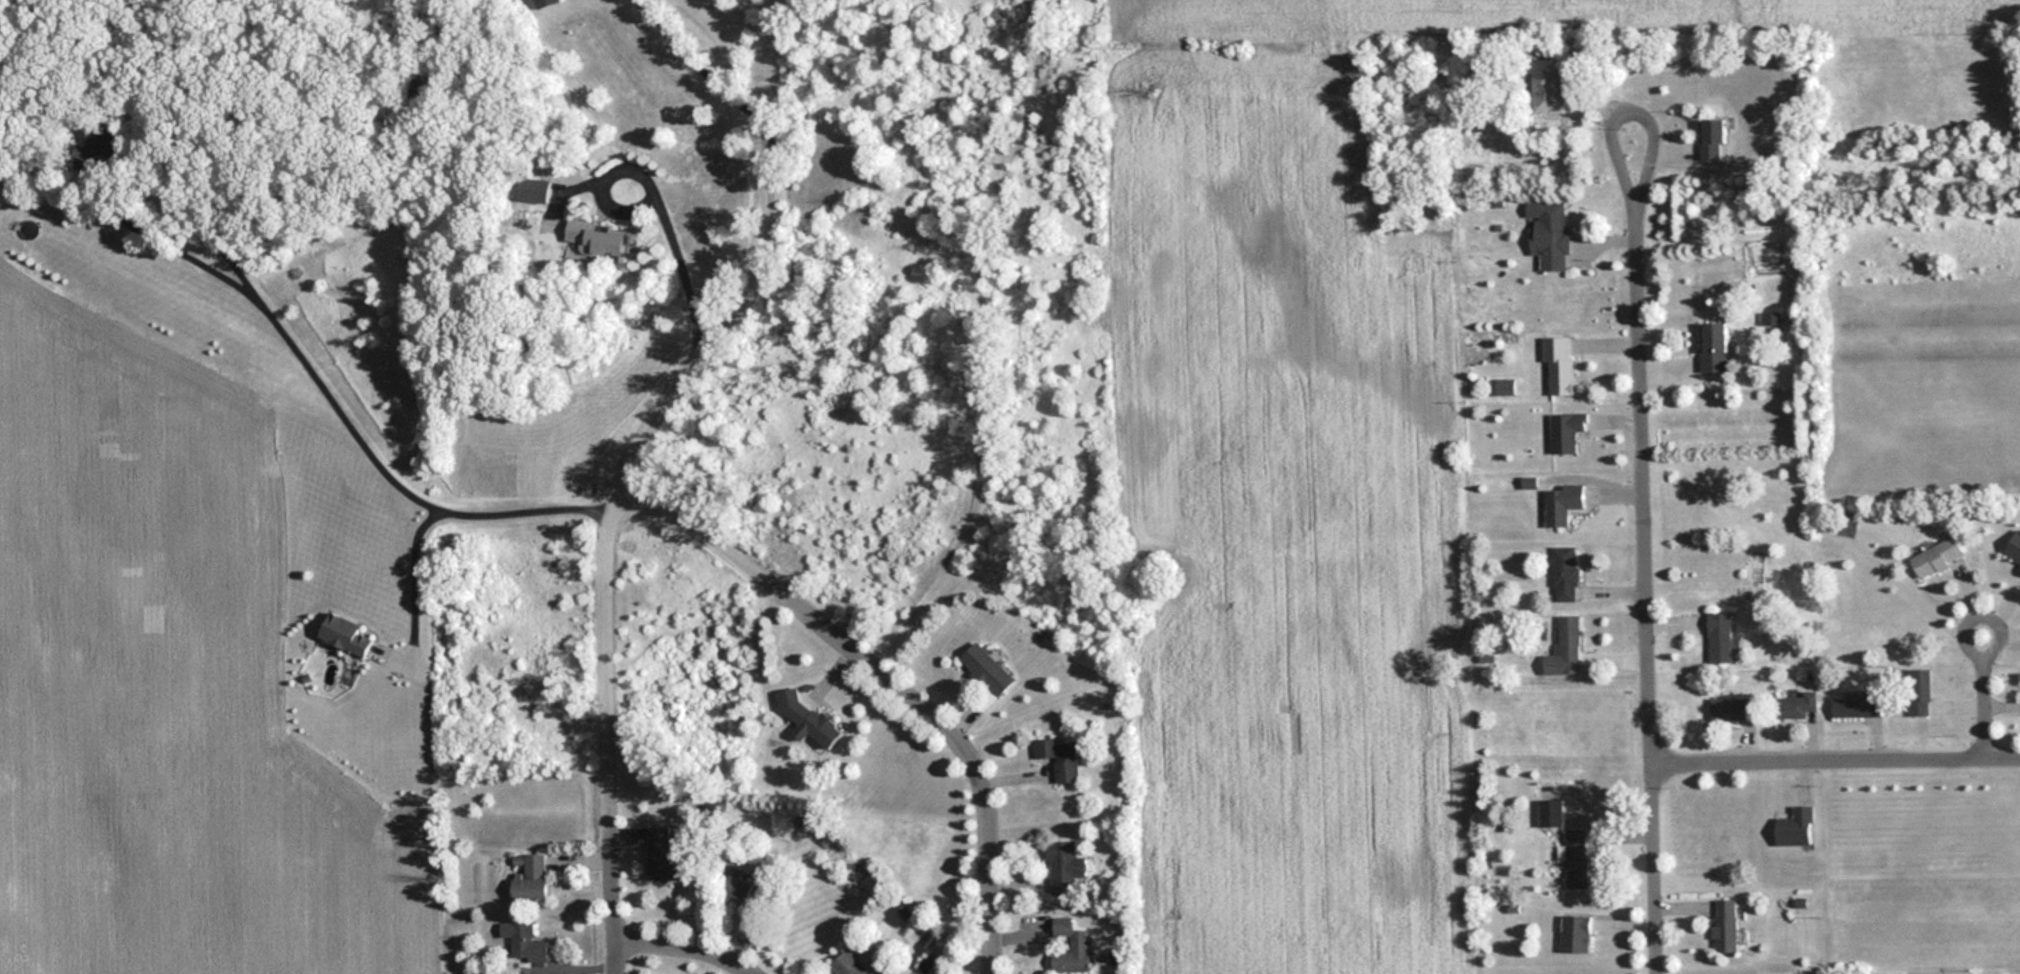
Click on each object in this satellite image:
building: (546, 3)
road: (700, 61)
building: (1546, 85)
road: (1630, 96)
building: (1714, 138)
building: (90, 151)
building: (535, 189)
road: (664, 204)
building: (1549, 233)
building: (599, 238)
building: (1771, 320)
road: (980, 341)
building: (1714, 347)
building: (1559, 366)
building: (1566, 432)
road: (381, 450)
road: (628, 465)
building: (1563, 504)
building: (2014, 550)
building: (1936, 557)
building: (1565, 574)
road: (416, 576)
road: (1648, 580)
building: (346, 634)
building: (1722, 638)
road: (1988, 639)
building: (1566, 648)
building: (988, 669)
road: (887, 678)
building: (1920, 693)
building: (1796, 706)
building: (1860, 706)
building: (1732, 709)
building: (813, 724)
road: (1836, 749)
building: (1060, 759)
building: (1550, 813)
building: (1796, 828)
building: (664, 857)
building: (1576, 858)
building: (1066, 869)
building: (529, 878)
building: (744, 888)
building: (1726, 926)
building: (1575, 934)
building: (523, 942)
road: (686, 948)
building: (1071, 948)
building: (848, 965)

